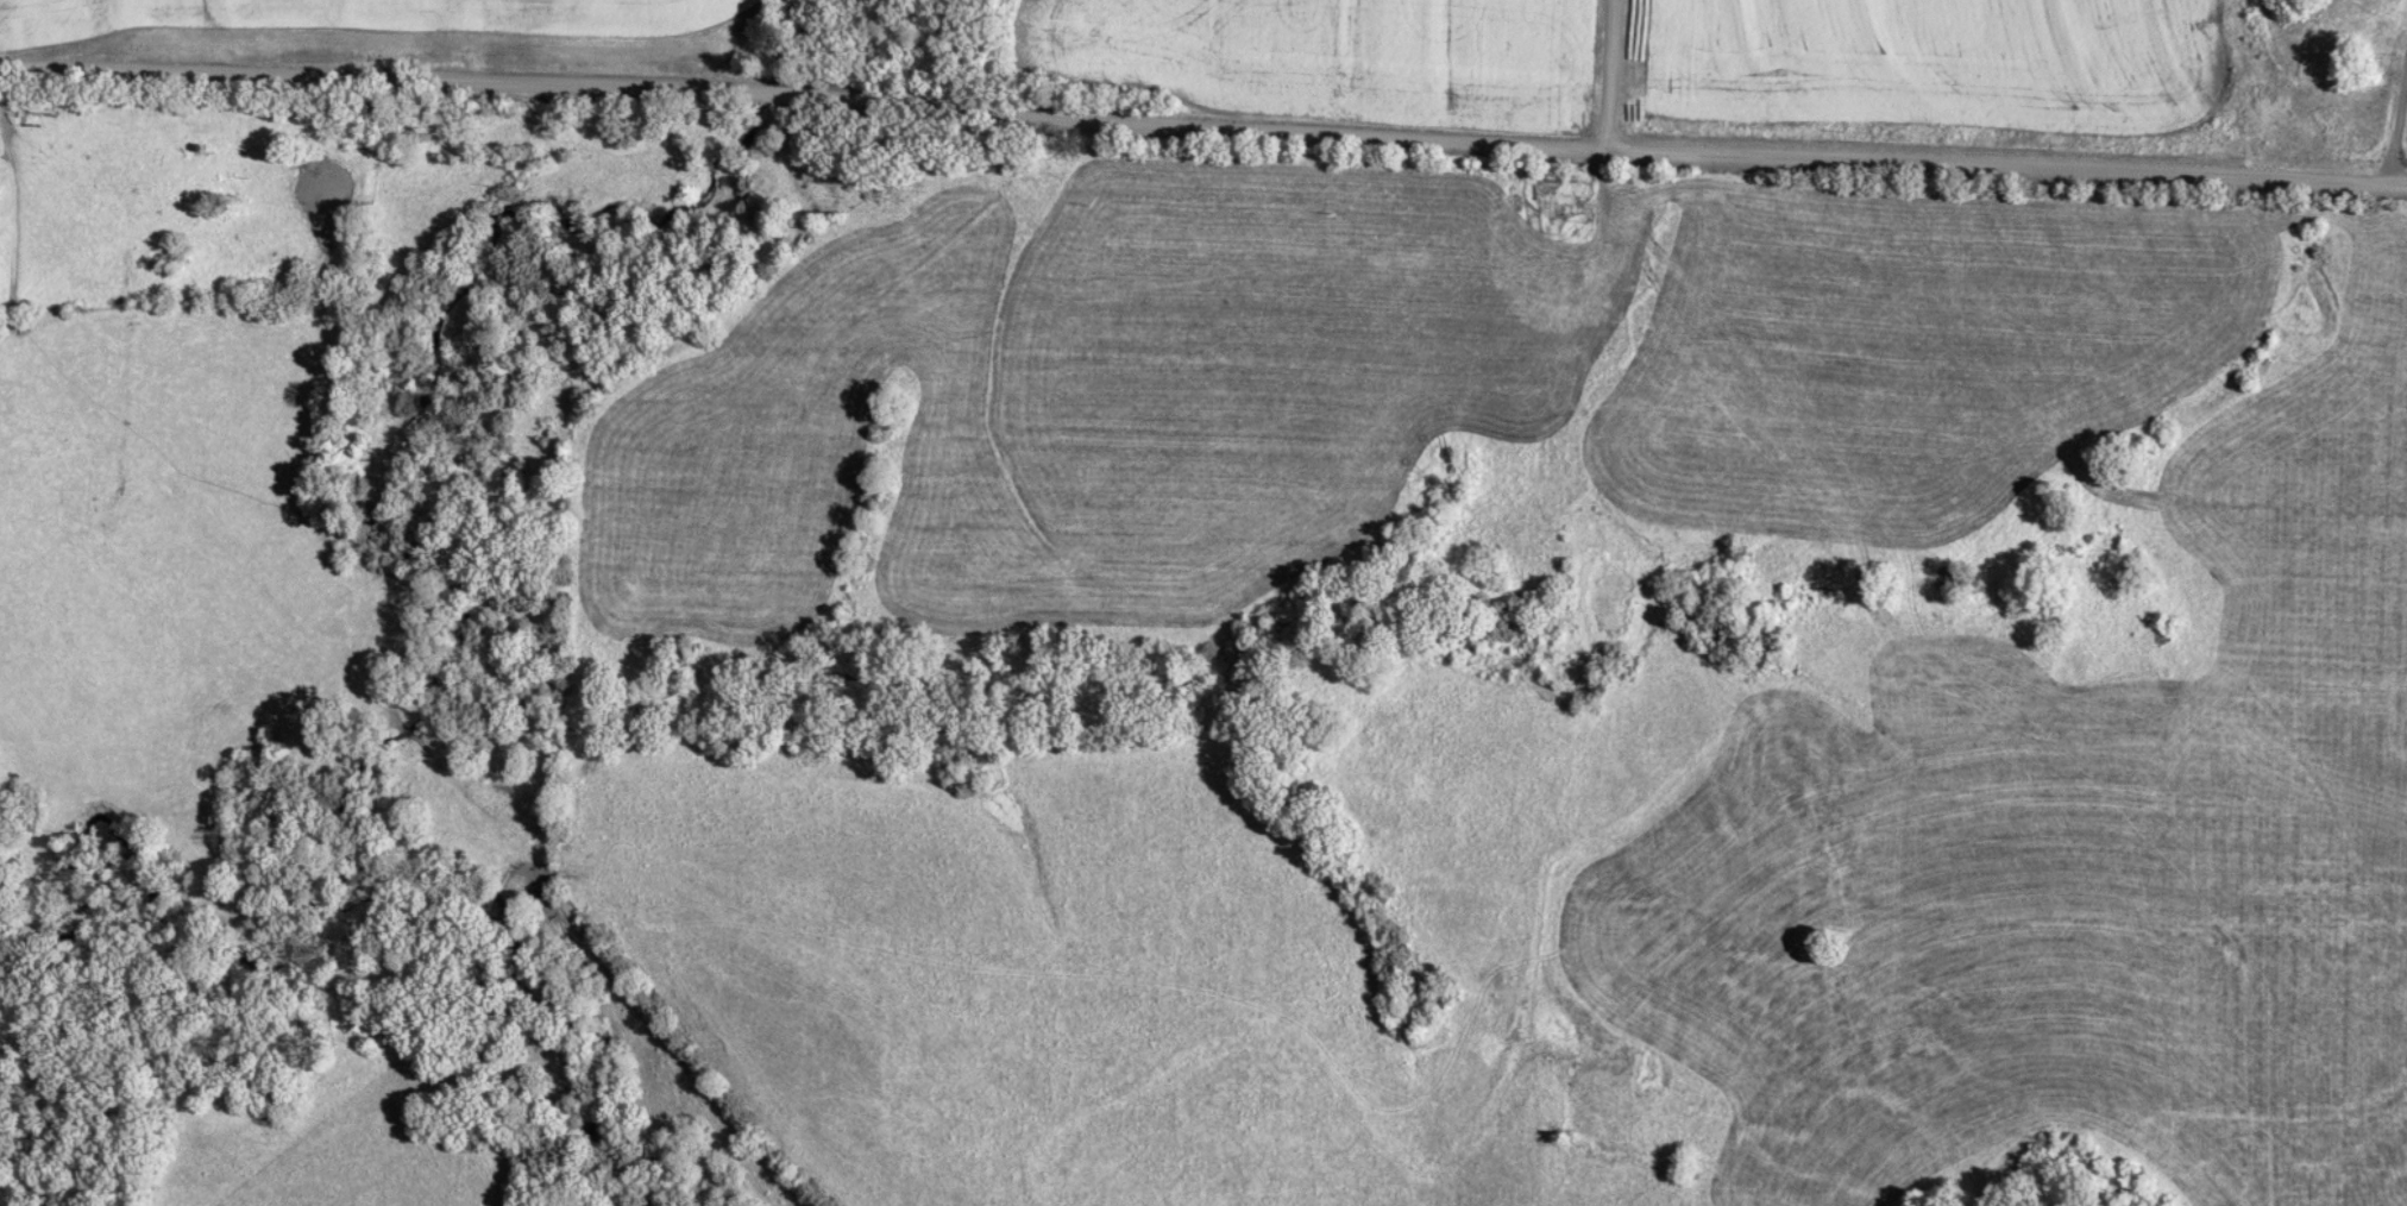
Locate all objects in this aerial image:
road: (1604, 75)
road: (2395, 109)
road: (1202, 130)

